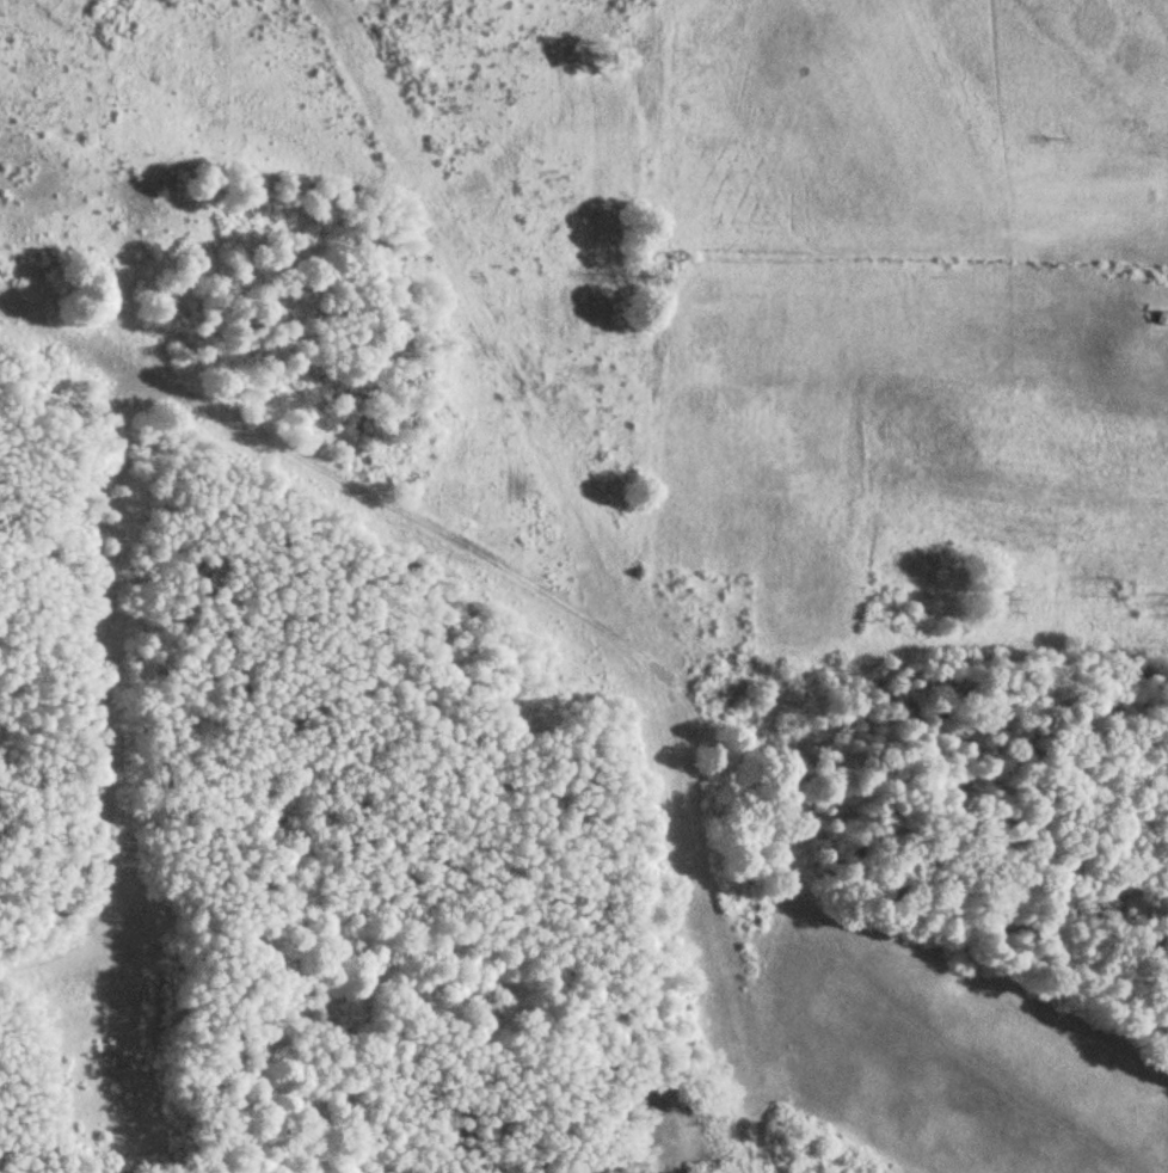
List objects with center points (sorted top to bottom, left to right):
road: (72, 579)

